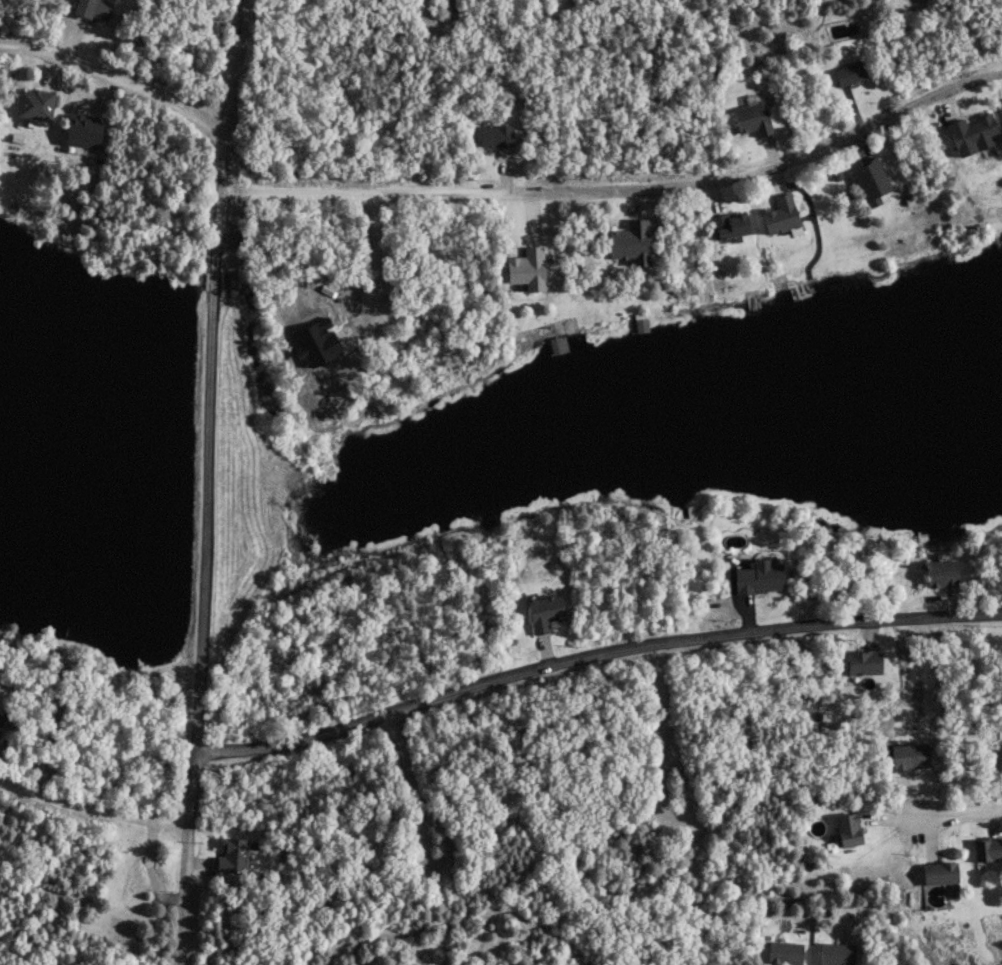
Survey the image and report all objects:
building: (93, 8)
building: (850, 72)
road: (114, 78)
building: (35, 103)
building: (754, 117)
building: (83, 130)
building: (974, 134)
building: (497, 135)
road: (621, 188)
building: (782, 215)
building: (731, 226)
building: (632, 242)
road: (374, 252)
building: (528, 268)
road: (206, 482)
building: (942, 571)
building: (760, 576)
building: (546, 611)
road: (591, 656)
building: (865, 662)
building: (1, 718)
building: (910, 755)
road: (91, 807)
road: (959, 812)
building: (849, 828)
building: (988, 849)
building: (941, 872)
building: (785, 951)
building: (838, 953)

